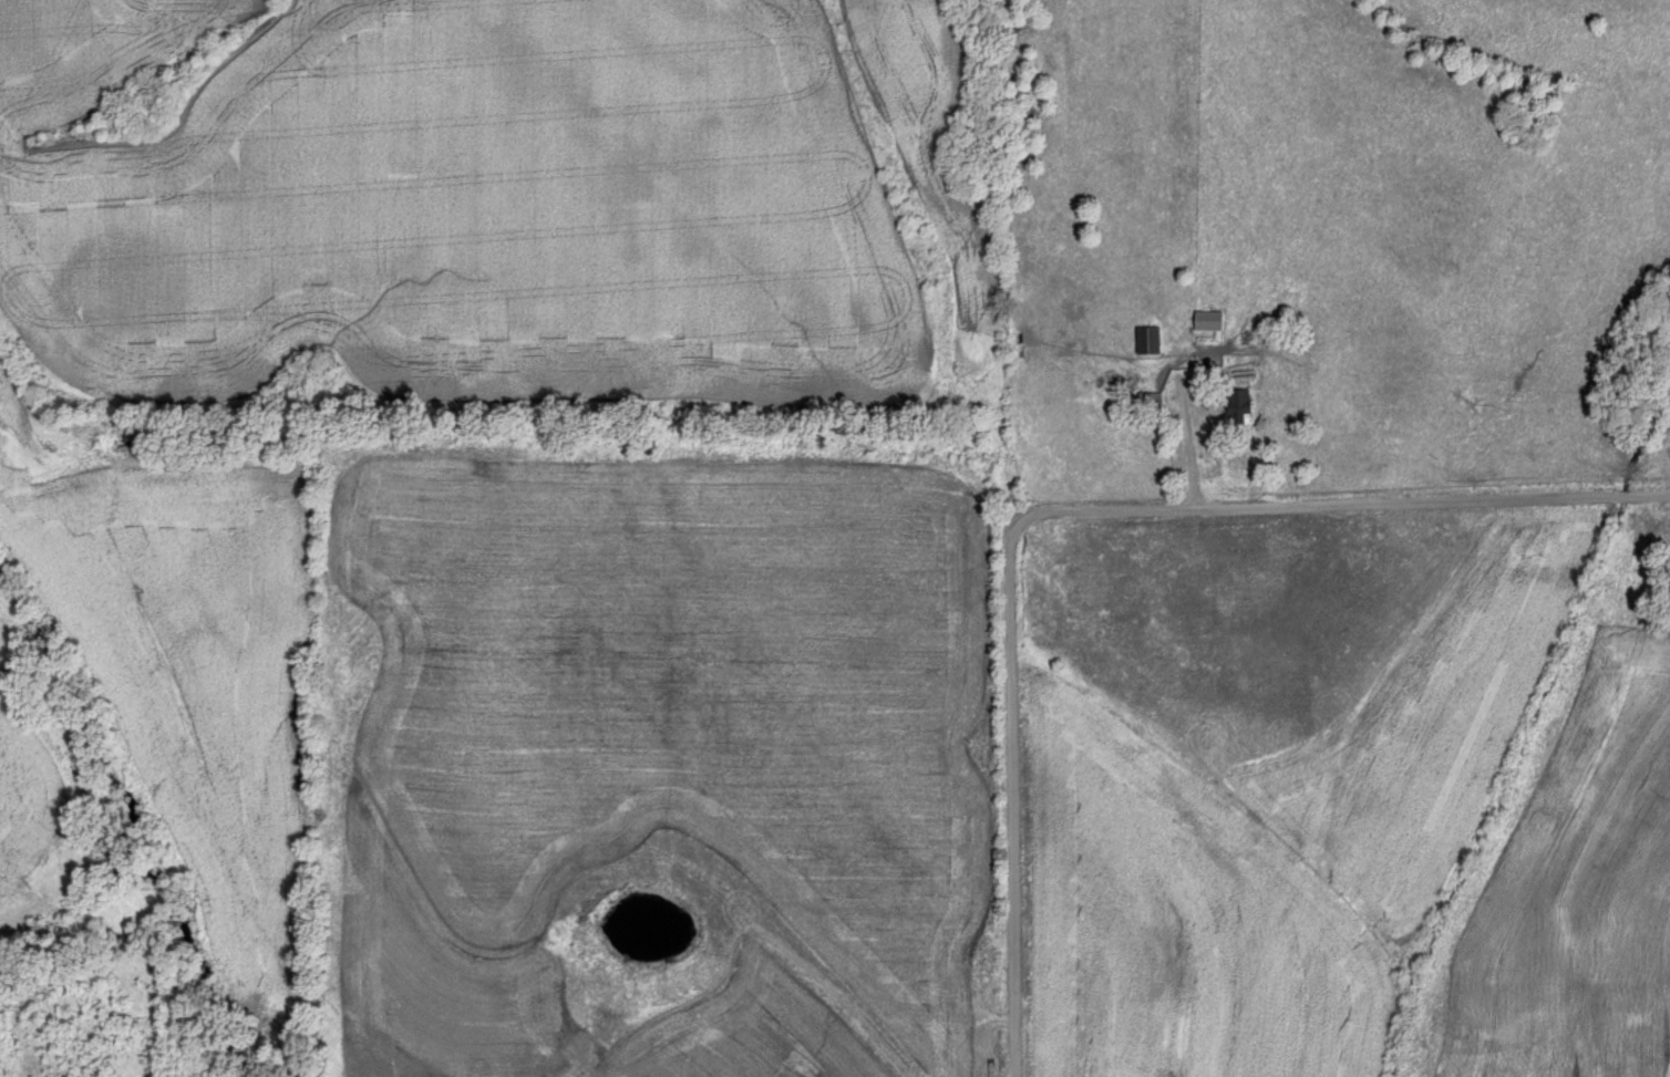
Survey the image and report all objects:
building: (1206, 320)
building: (1072, 340)
building: (1146, 340)
building: (1147, 401)
building: (1236, 406)
road: (1064, 510)

